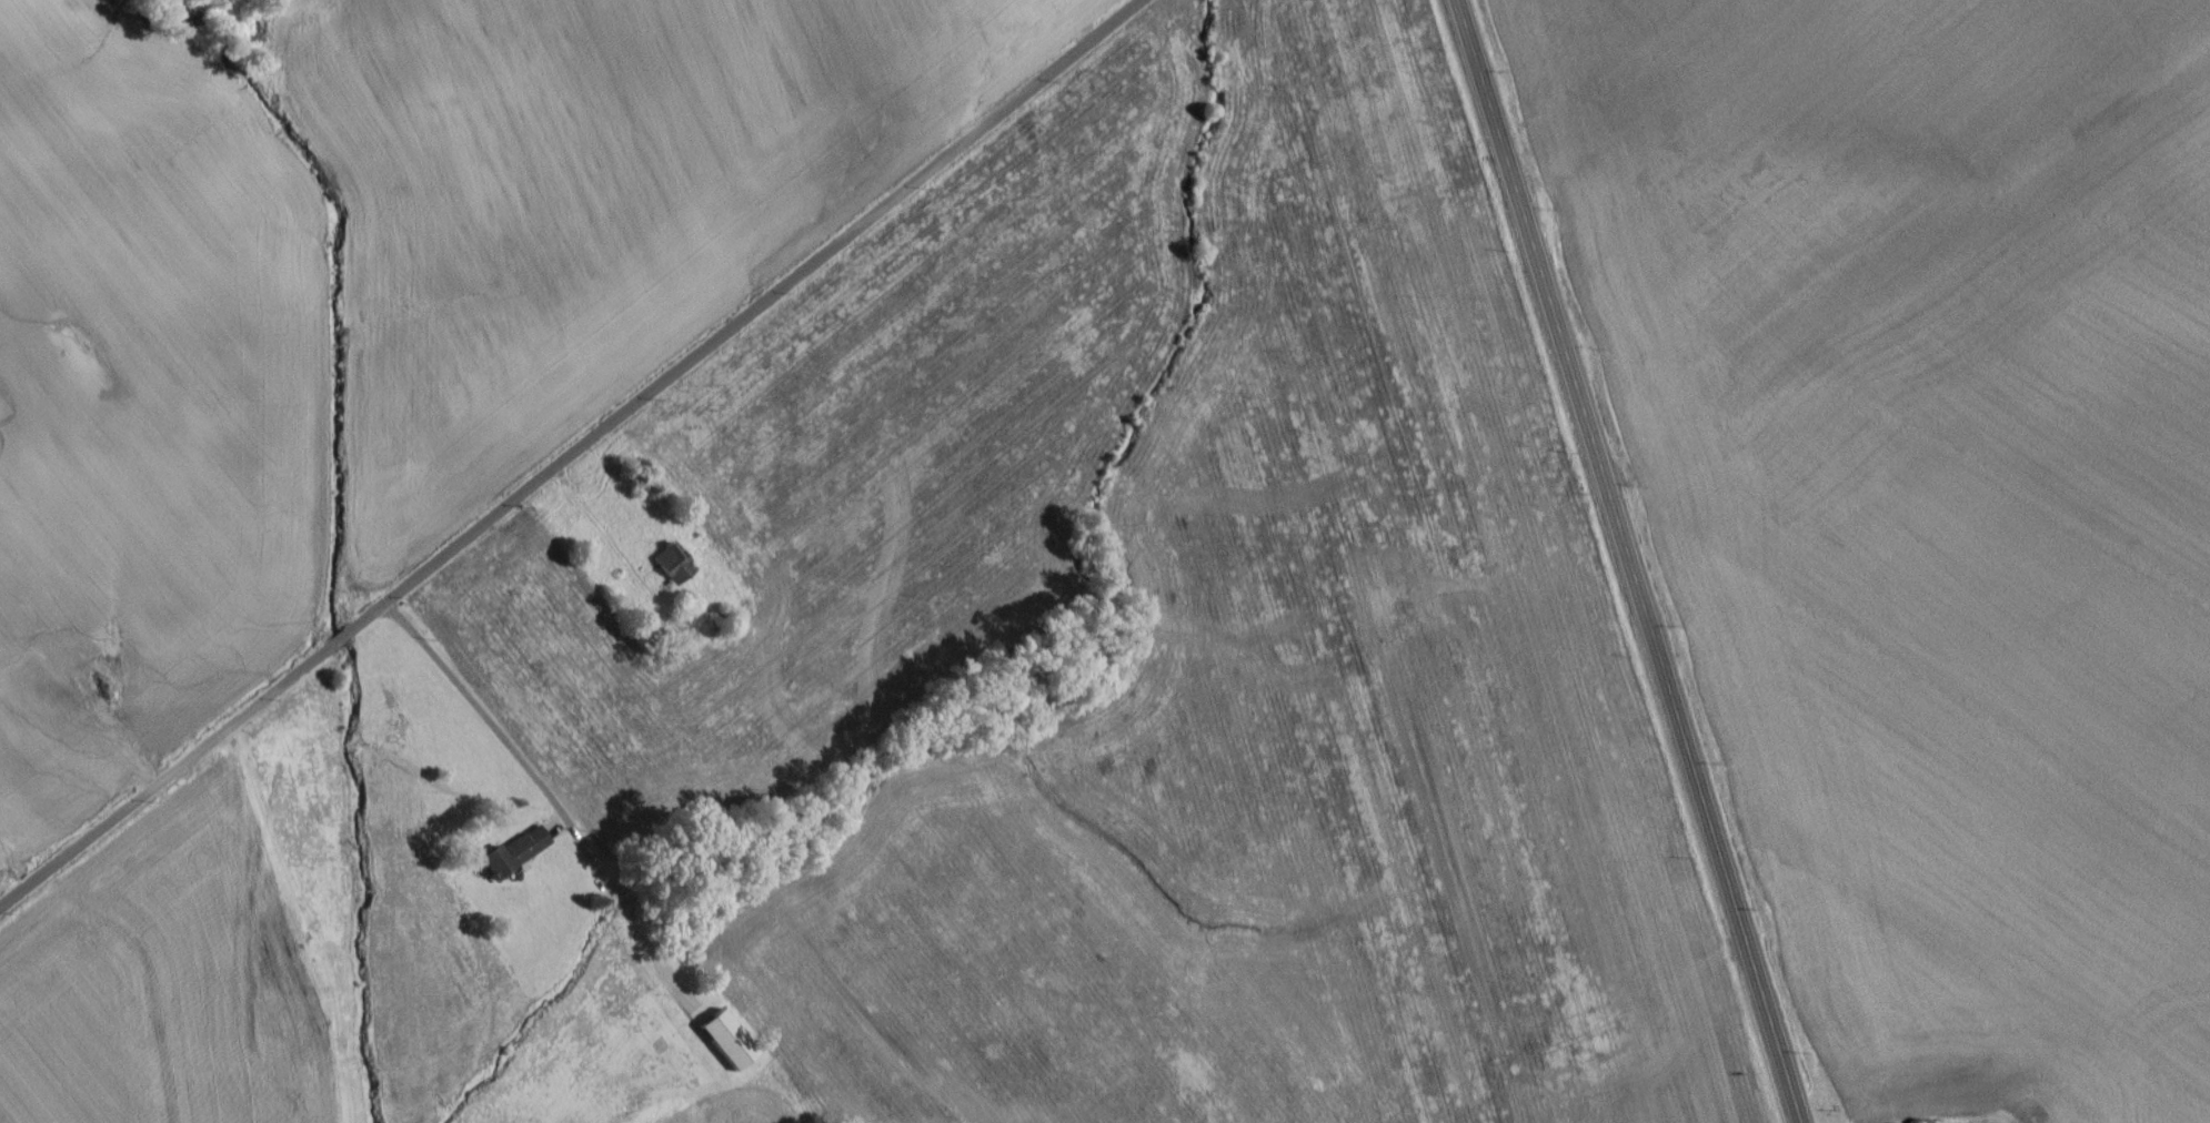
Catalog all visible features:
road: (570, 454)
road: (1624, 561)
building: (672, 570)
building: (644, 640)
building: (39, 674)
building: (51, 690)
road: (546, 792)
building: (513, 858)
building: (621, 1014)
building: (726, 1045)

